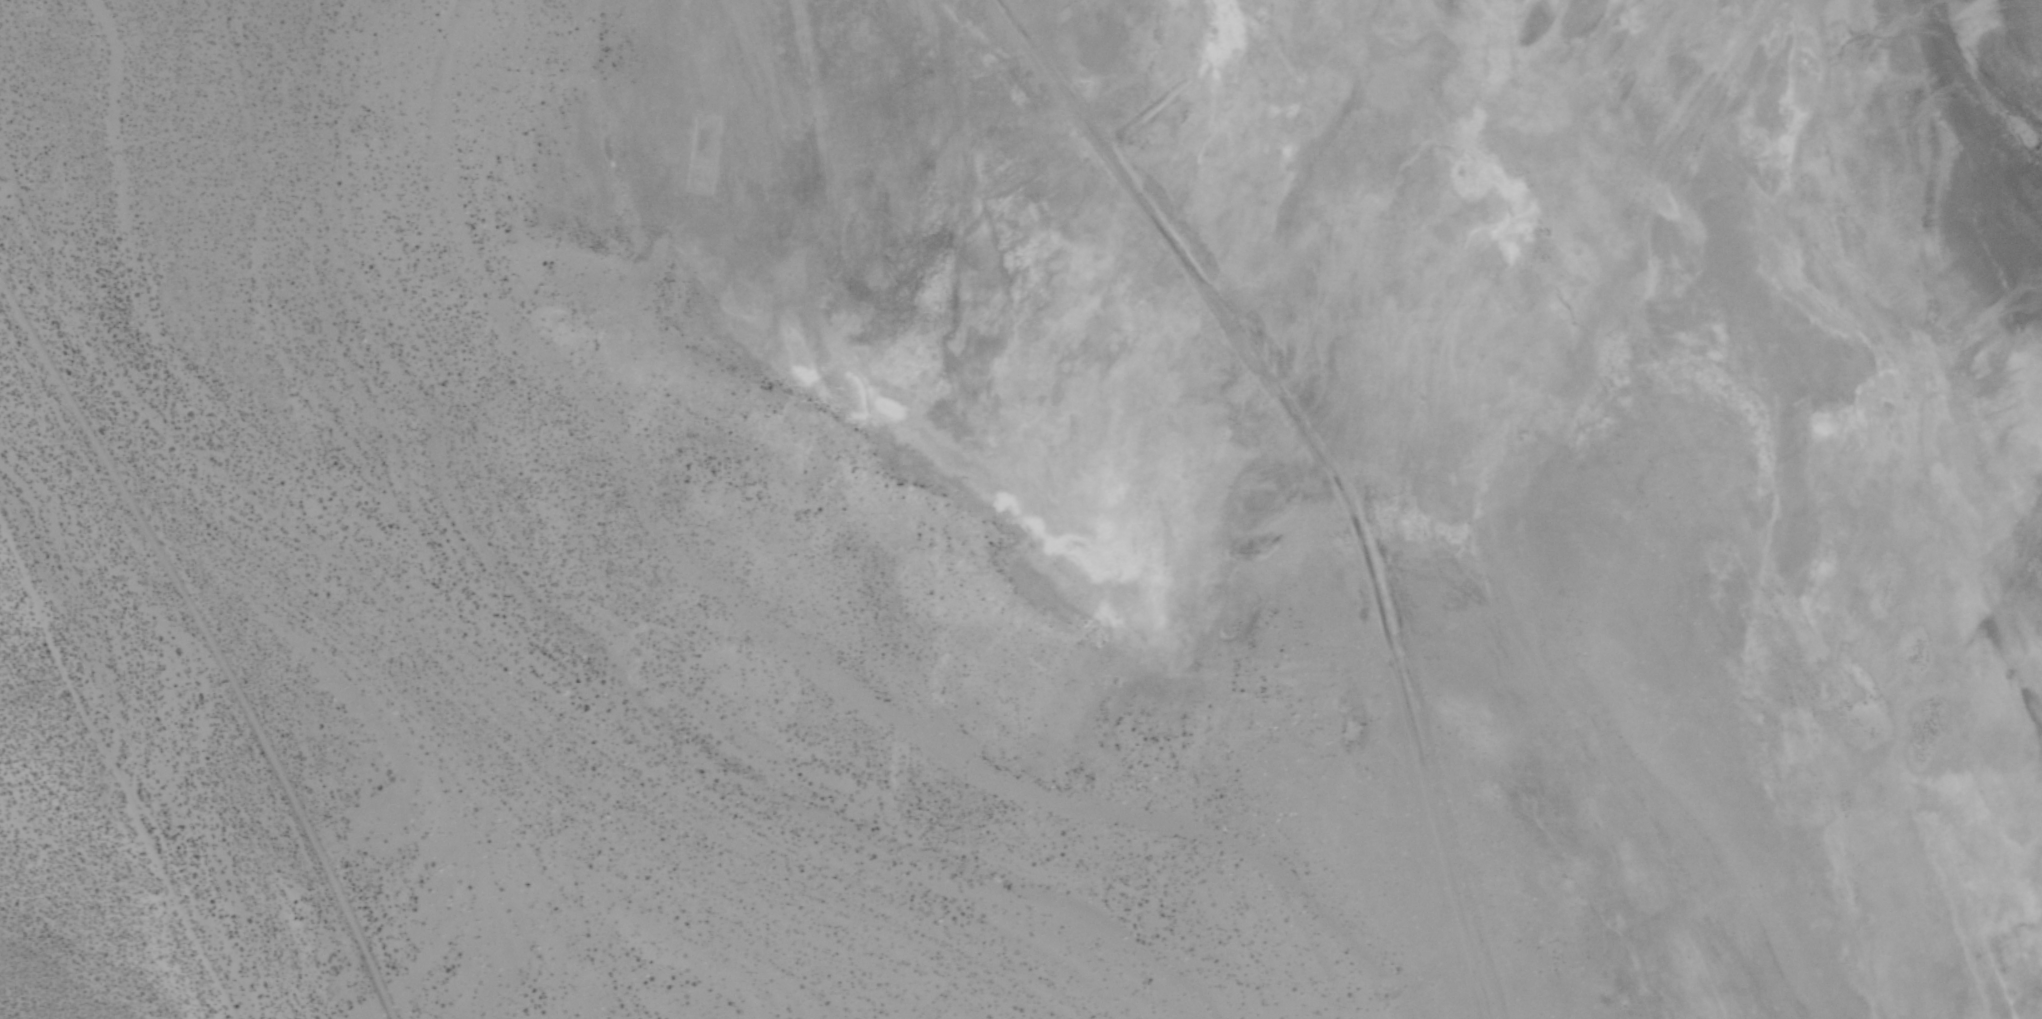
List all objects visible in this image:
road: (1321, 468)
road: (111, 779)

